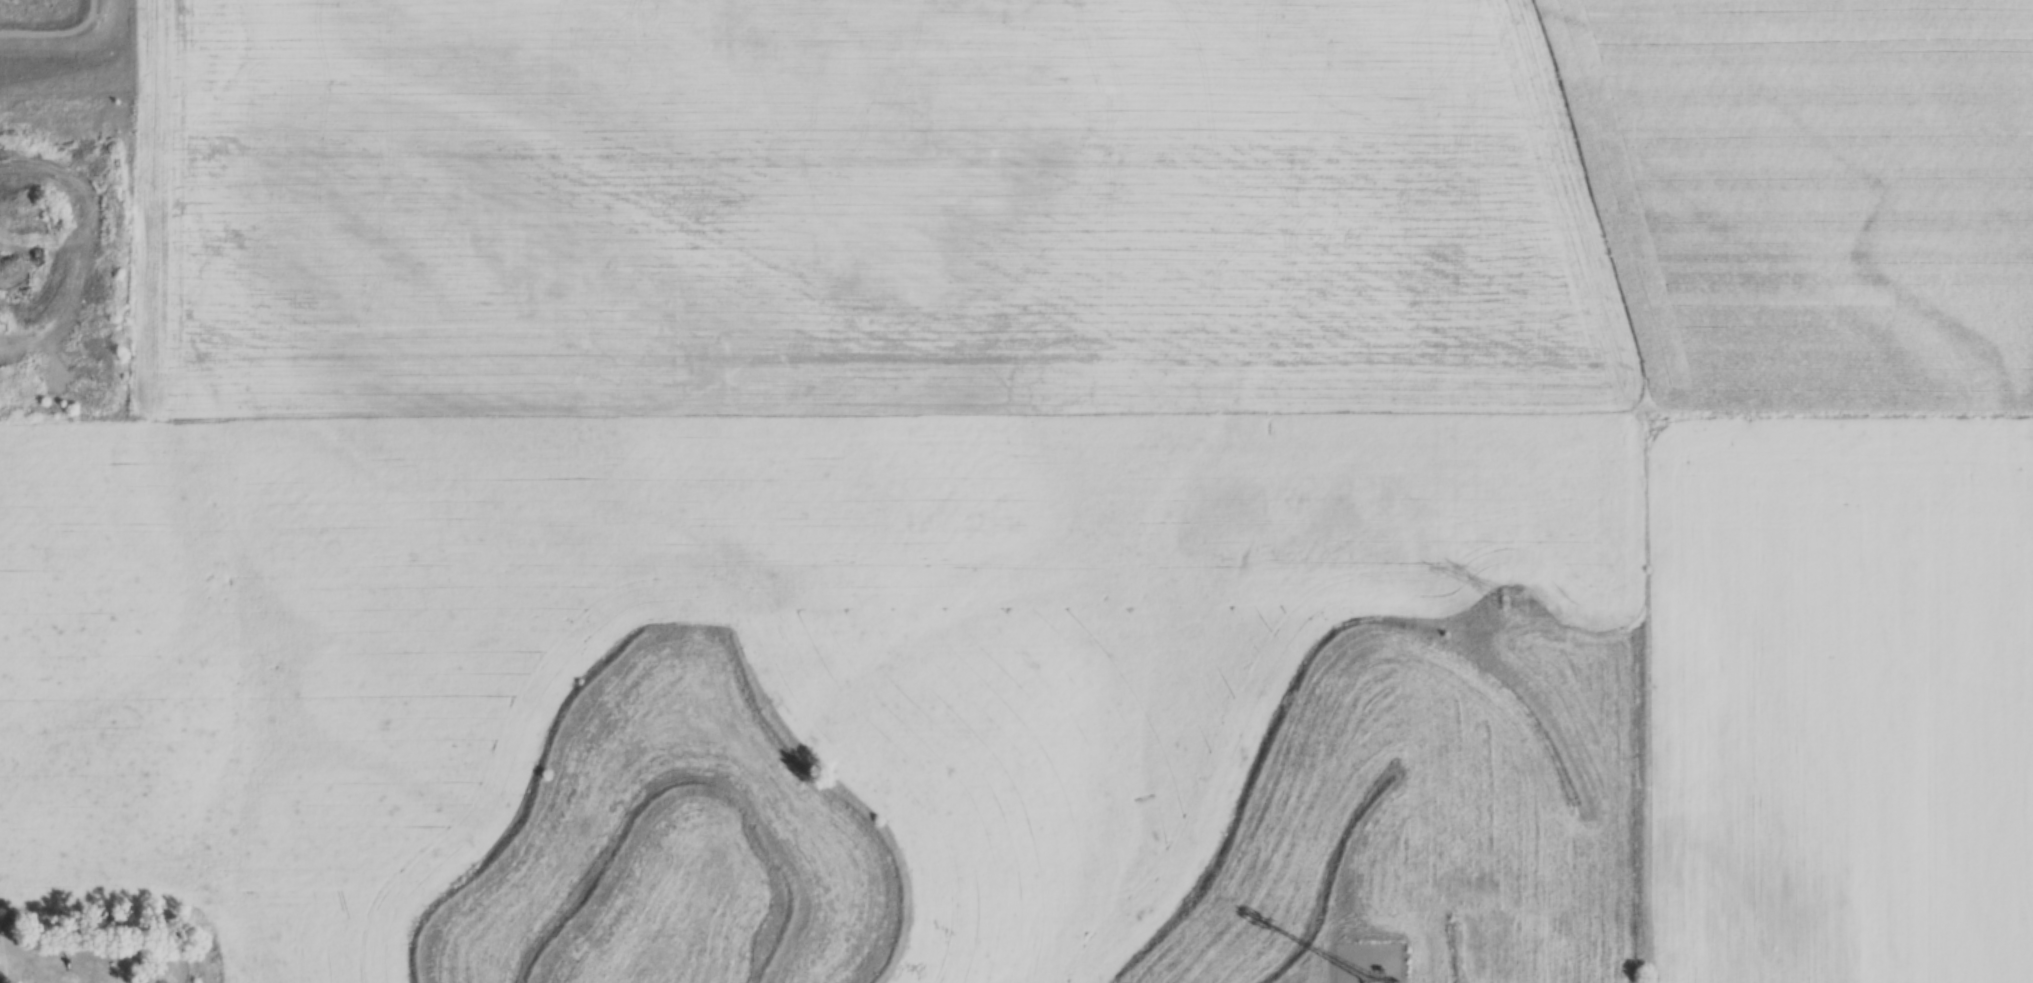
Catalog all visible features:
crop: (1052, 495)
power tower: (1517, 600)

